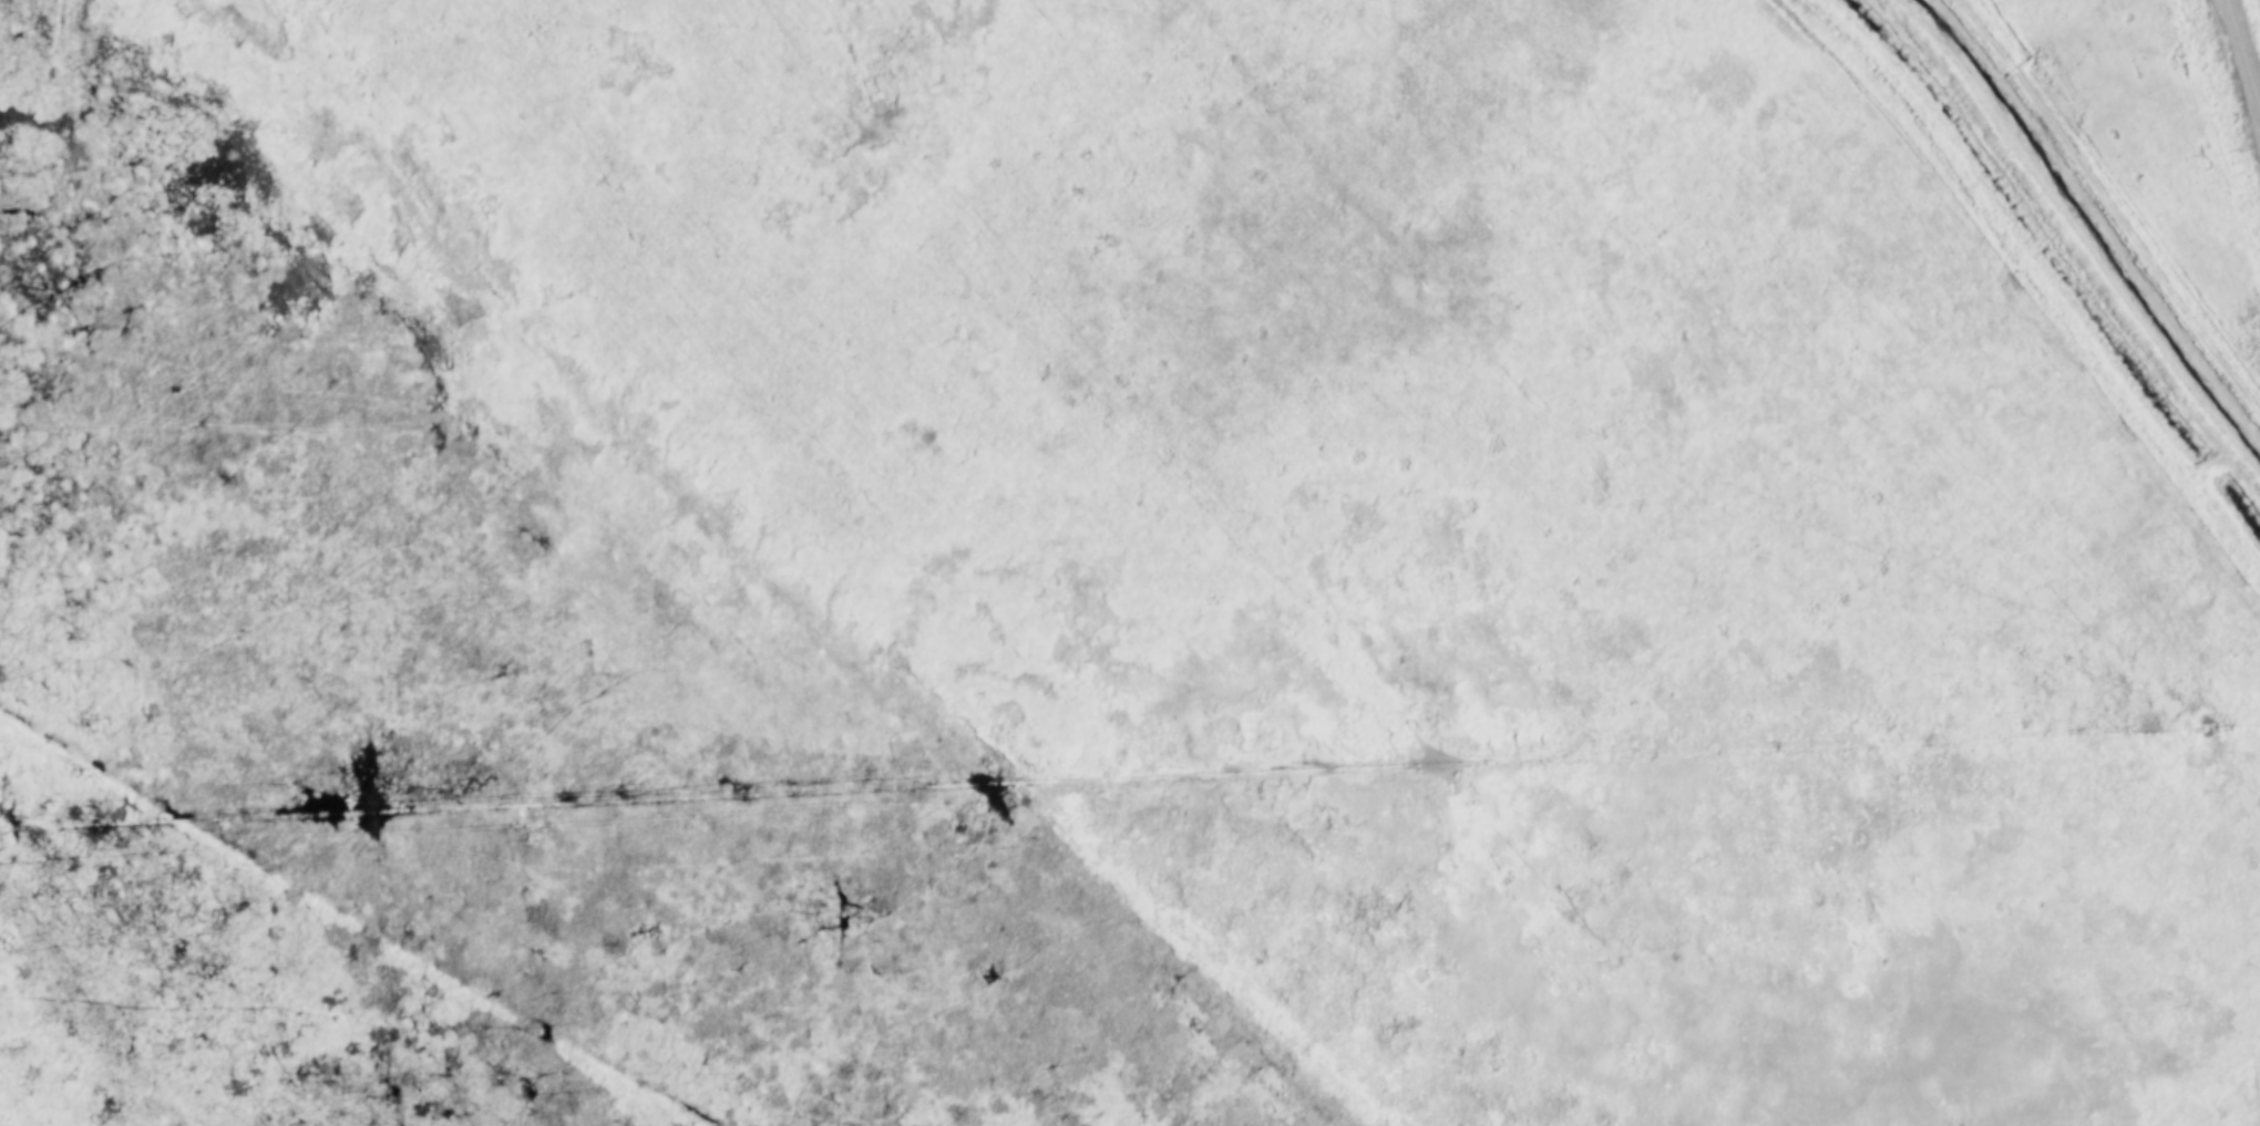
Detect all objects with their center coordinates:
road: (2240, 65)

